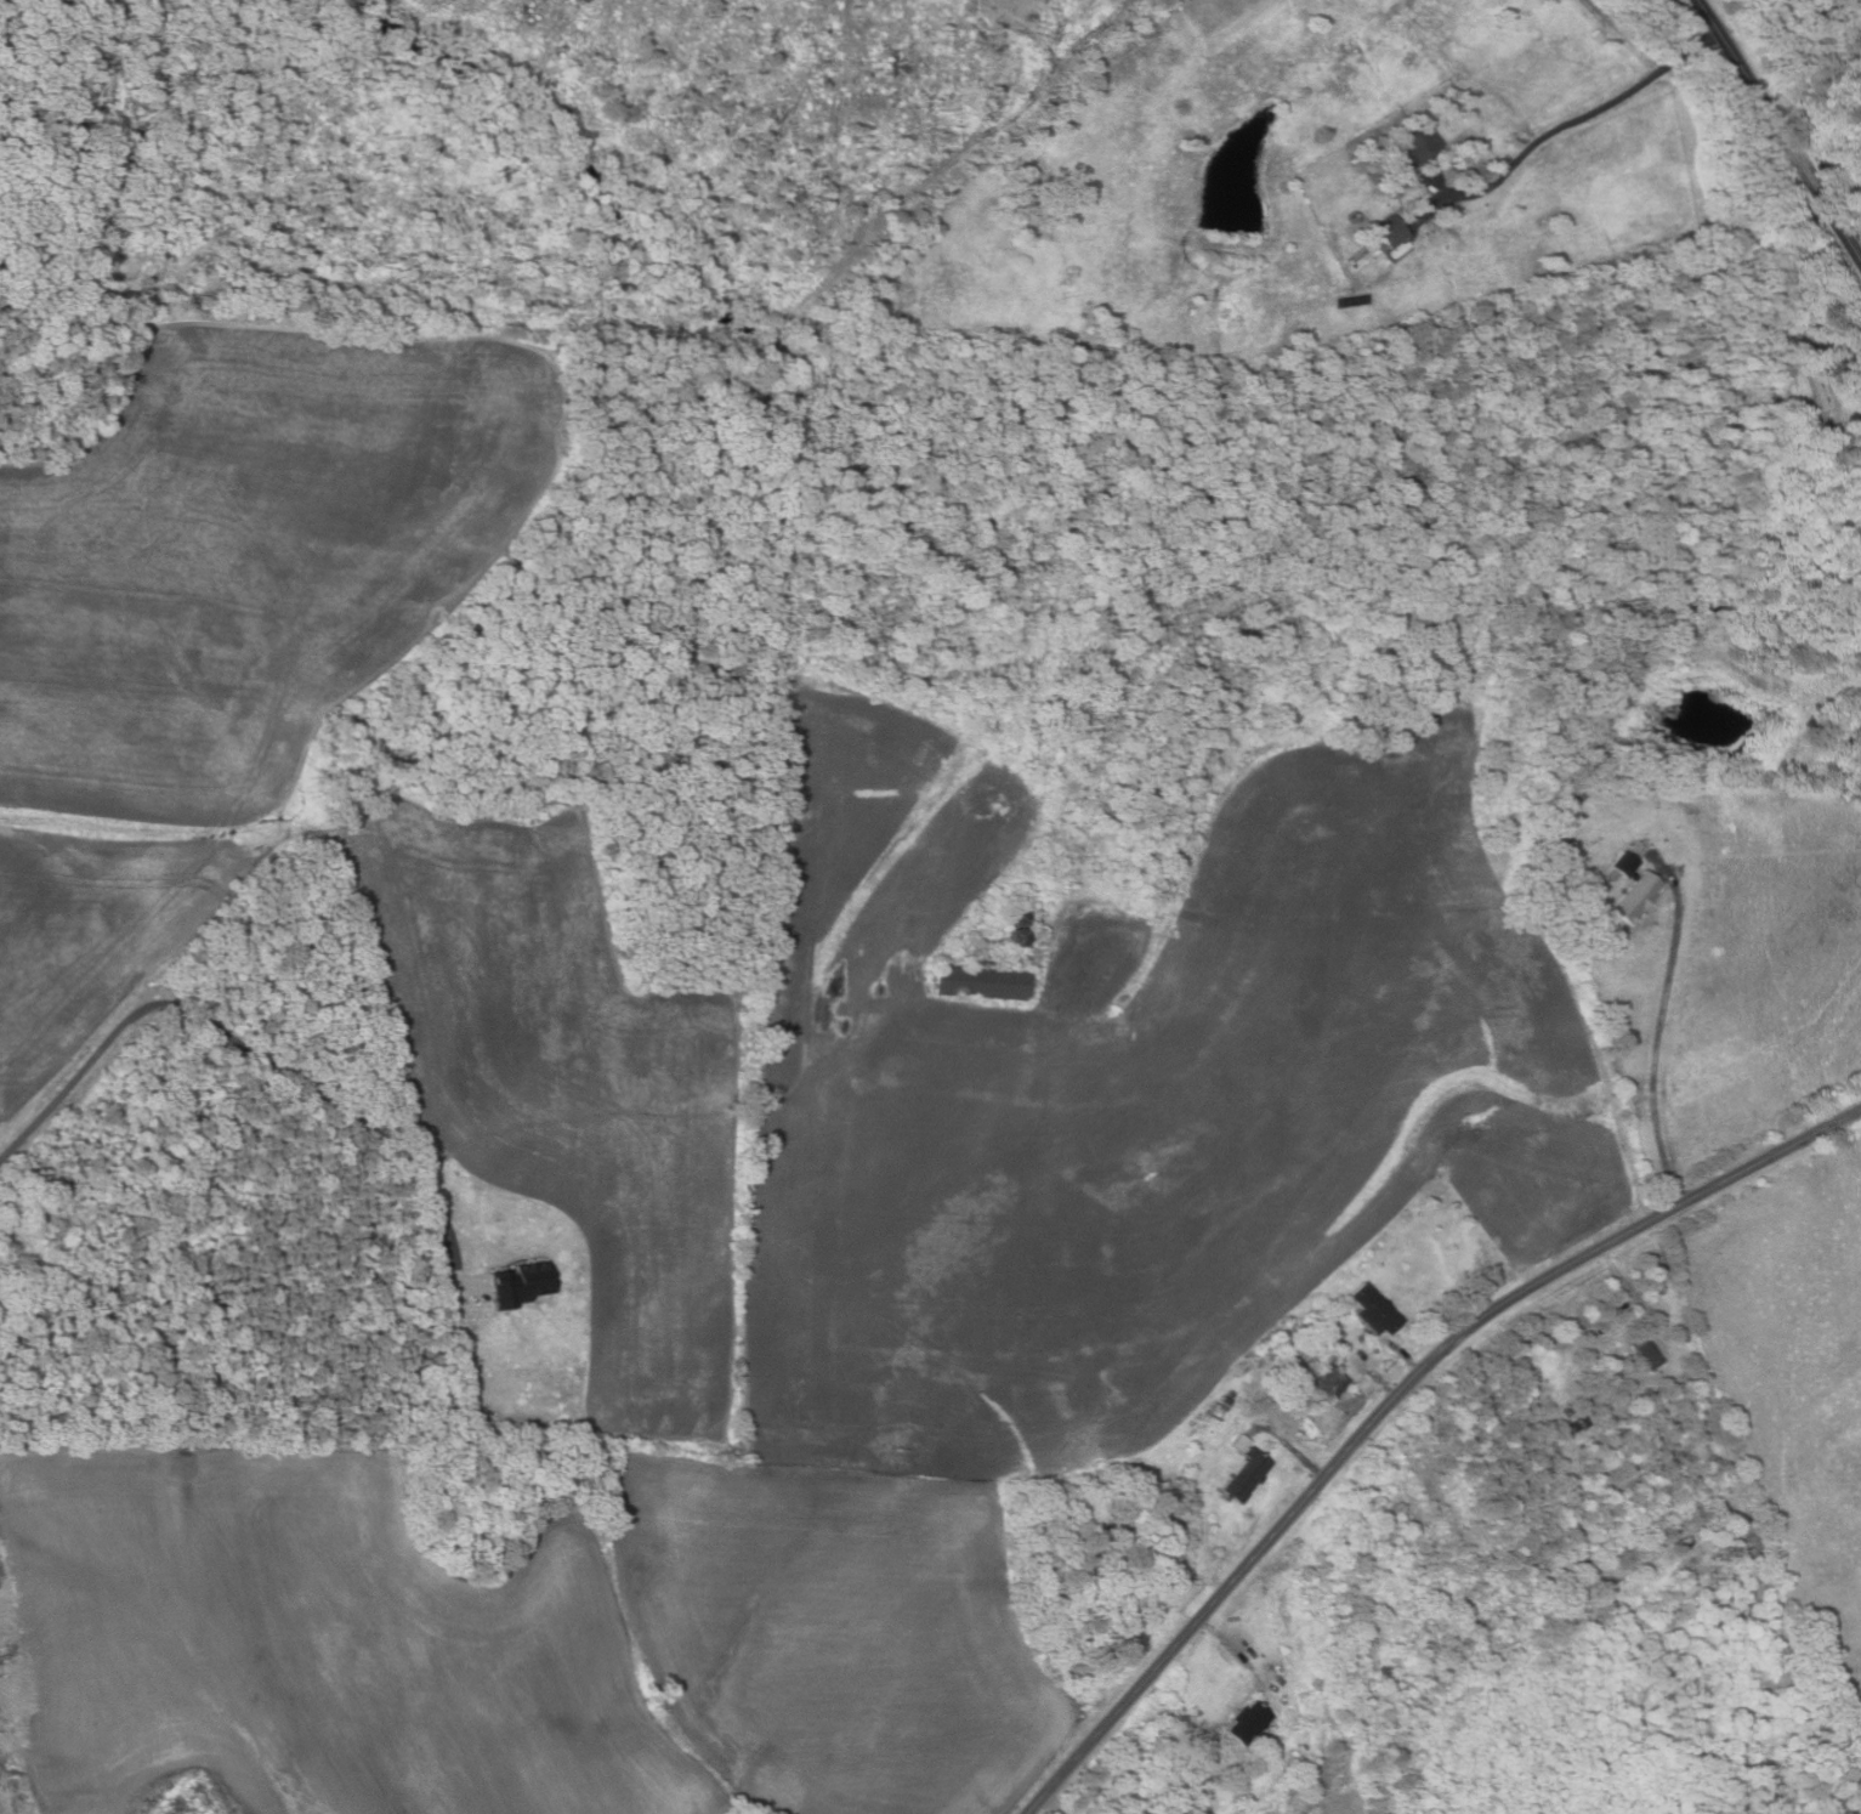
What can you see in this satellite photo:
road: (1567, 121)
road: (1777, 127)
building: (1414, 146)
road: (1854, 228)
building: (1390, 231)
building: (1352, 300)
building: (1821, 384)
road: (1855, 391)
crop: (255, 549)
building: (1623, 863)
building: (1635, 896)
crop: (95, 937)
building: (982, 982)
road: (1657, 1039)
road: (254, 1050)
crop: (564, 1082)
crop: (1125, 1093)
building: (518, 1283)
road: (1639, 1299)
building: (1374, 1310)
building: (1337, 1342)
building: (1649, 1355)
road: (1406, 1356)
building: (1326, 1379)
road: (1380, 1381)
building: (1641, 1398)
road: (1394, 1399)
building: (1226, 1400)
building: (1566, 1411)
building: (1582, 1421)
building: (1573, 1425)
building: (1241, 1442)
road: (1292, 1449)
building: (1246, 1475)
building: (1738, 1530)
building: (1706, 1531)
building: (1681, 1543)
crop: (518, 1639)
road: (1227, 1644)
building: (1248, 1723)
building: (1301, 1747)

